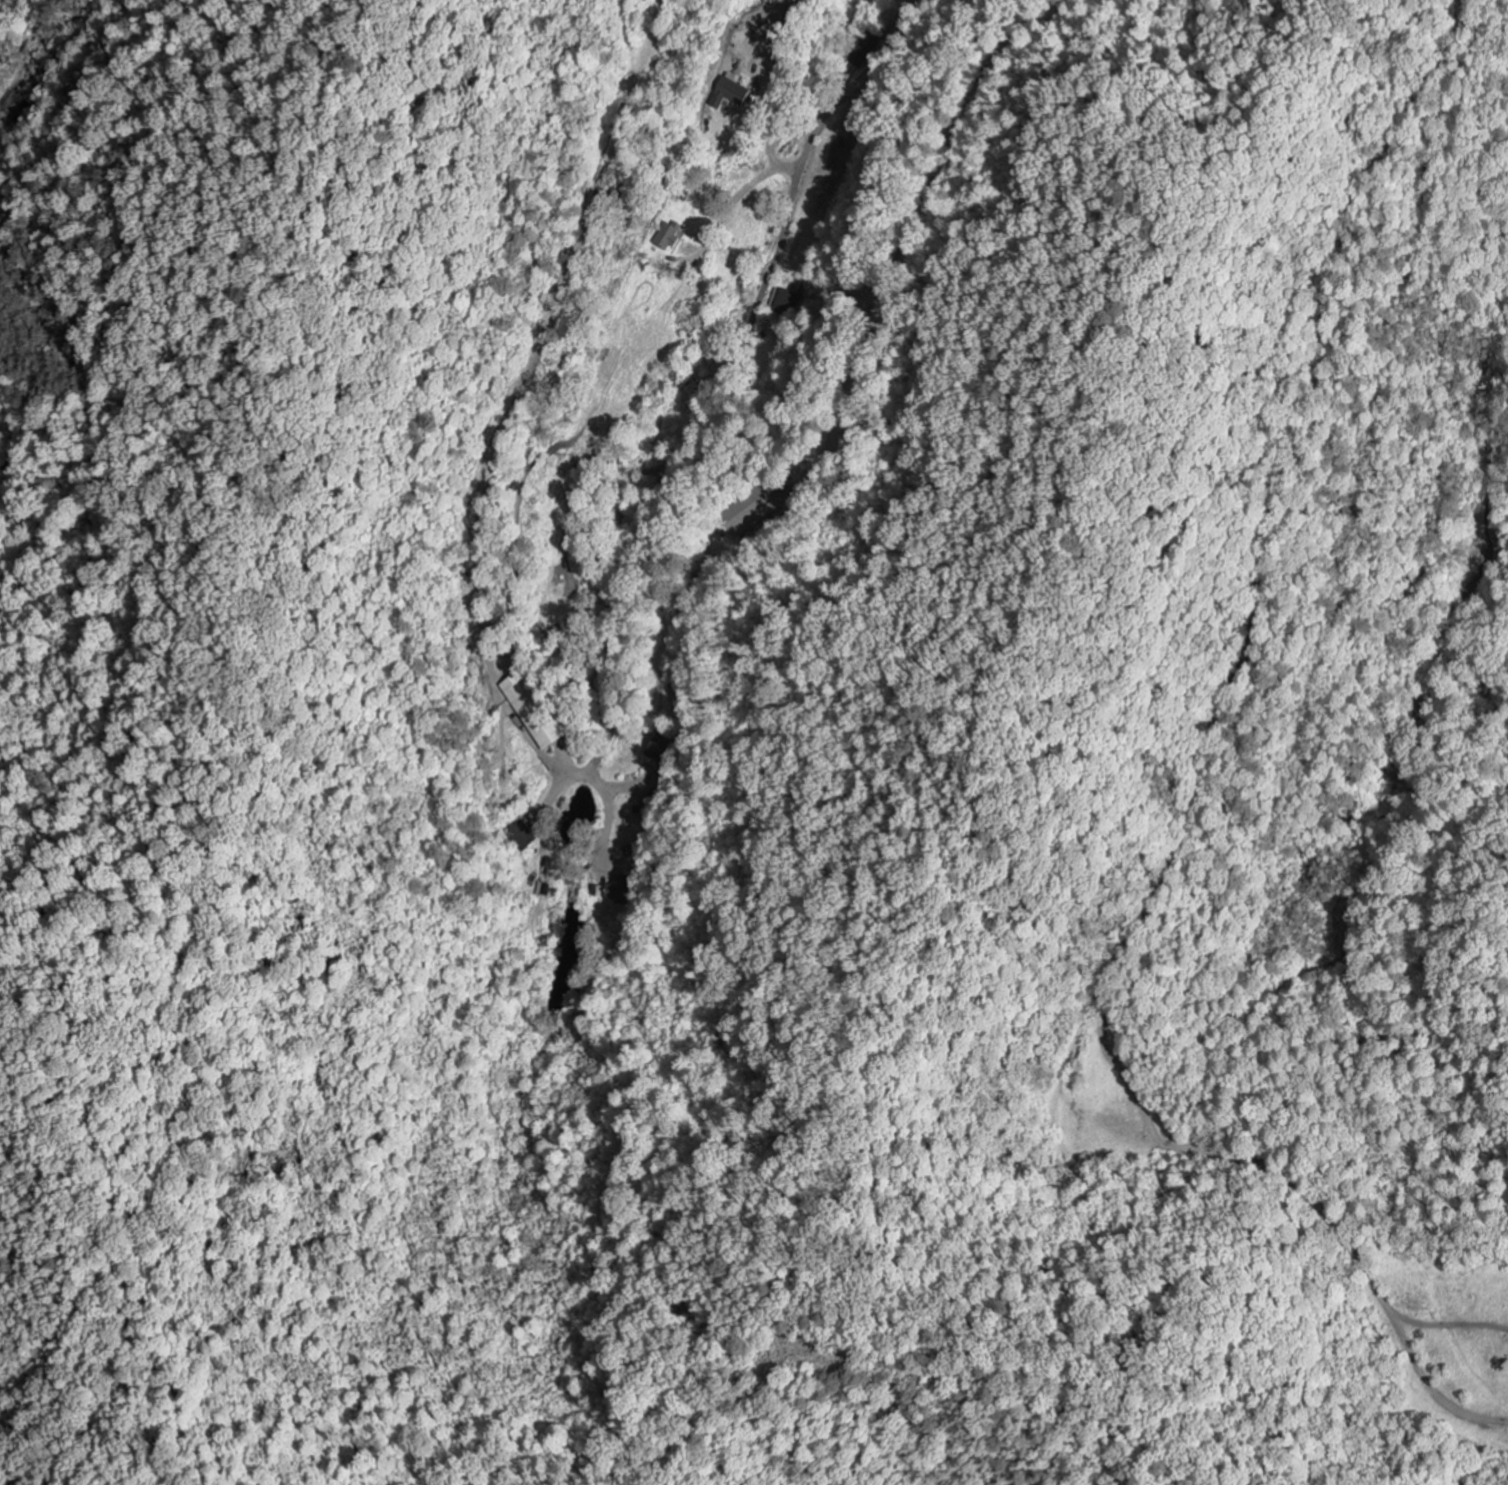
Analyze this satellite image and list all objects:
building: (671, 236)
road: (726, 372)
building: (532, 712)

